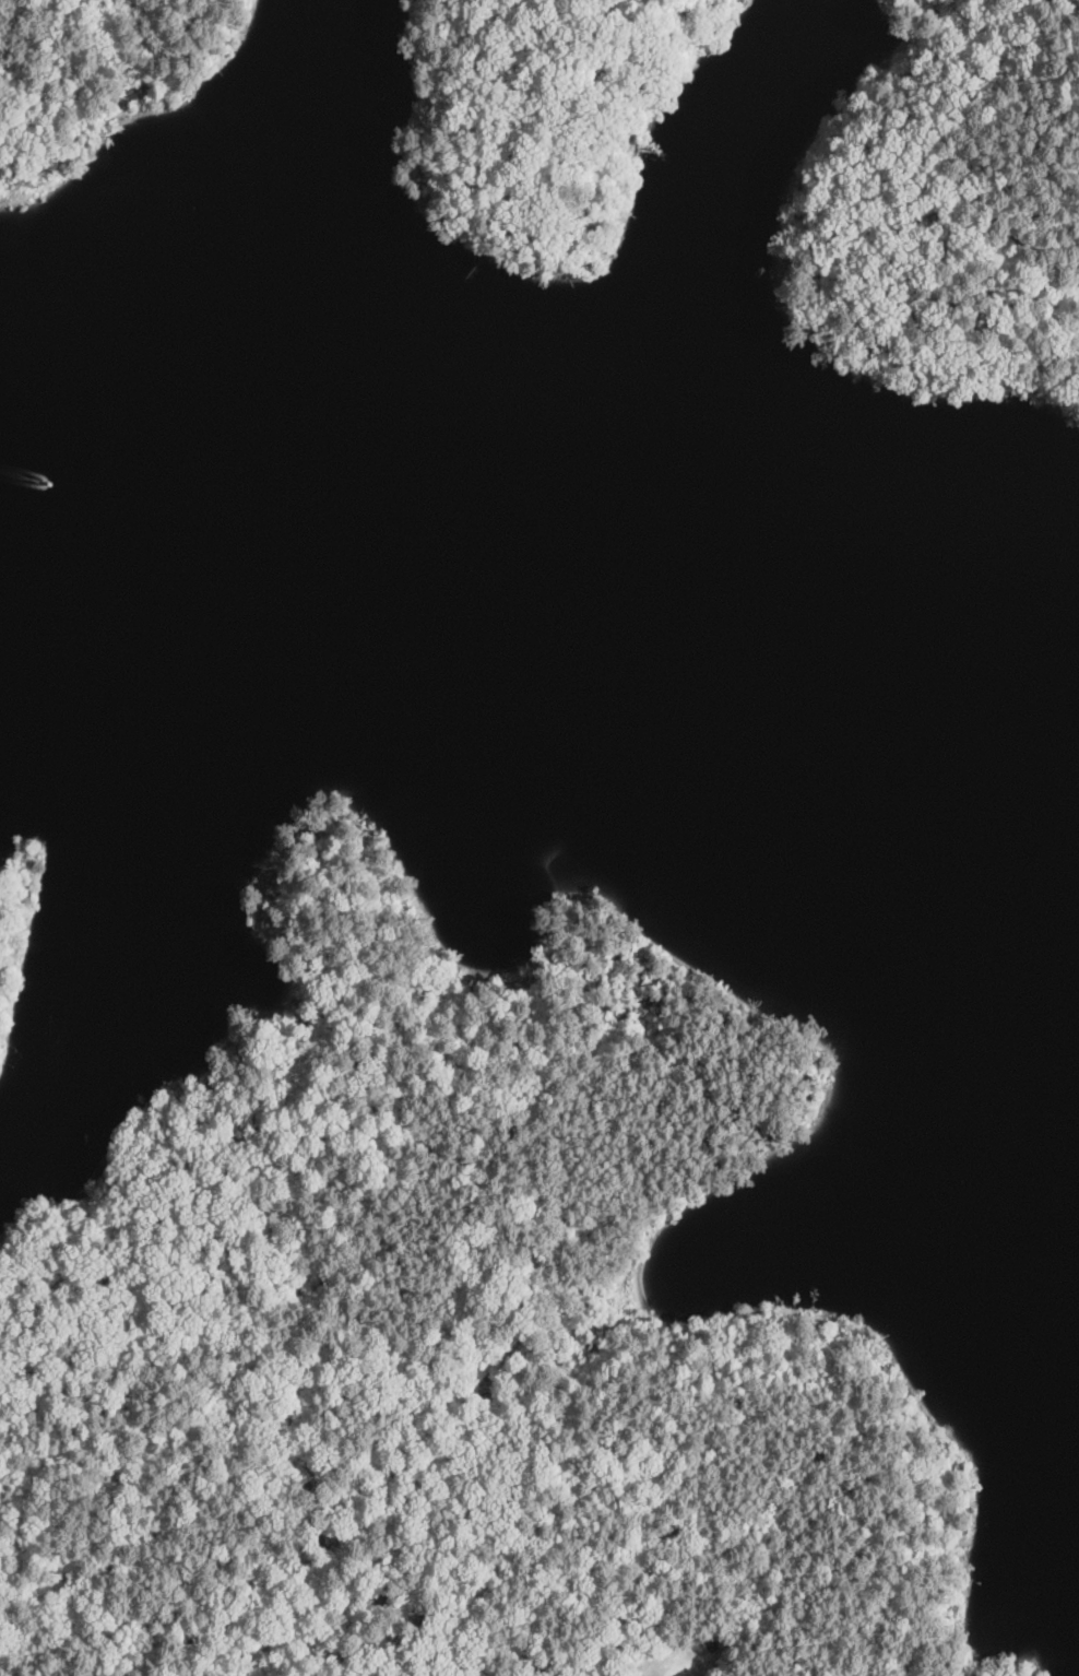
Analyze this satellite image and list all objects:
park: (103, 87)
park: (543, 123)
park: (944, 212)
river: (95, 541)
river: (319, 556)
river: (834, 720)
road: (377, 1476)

